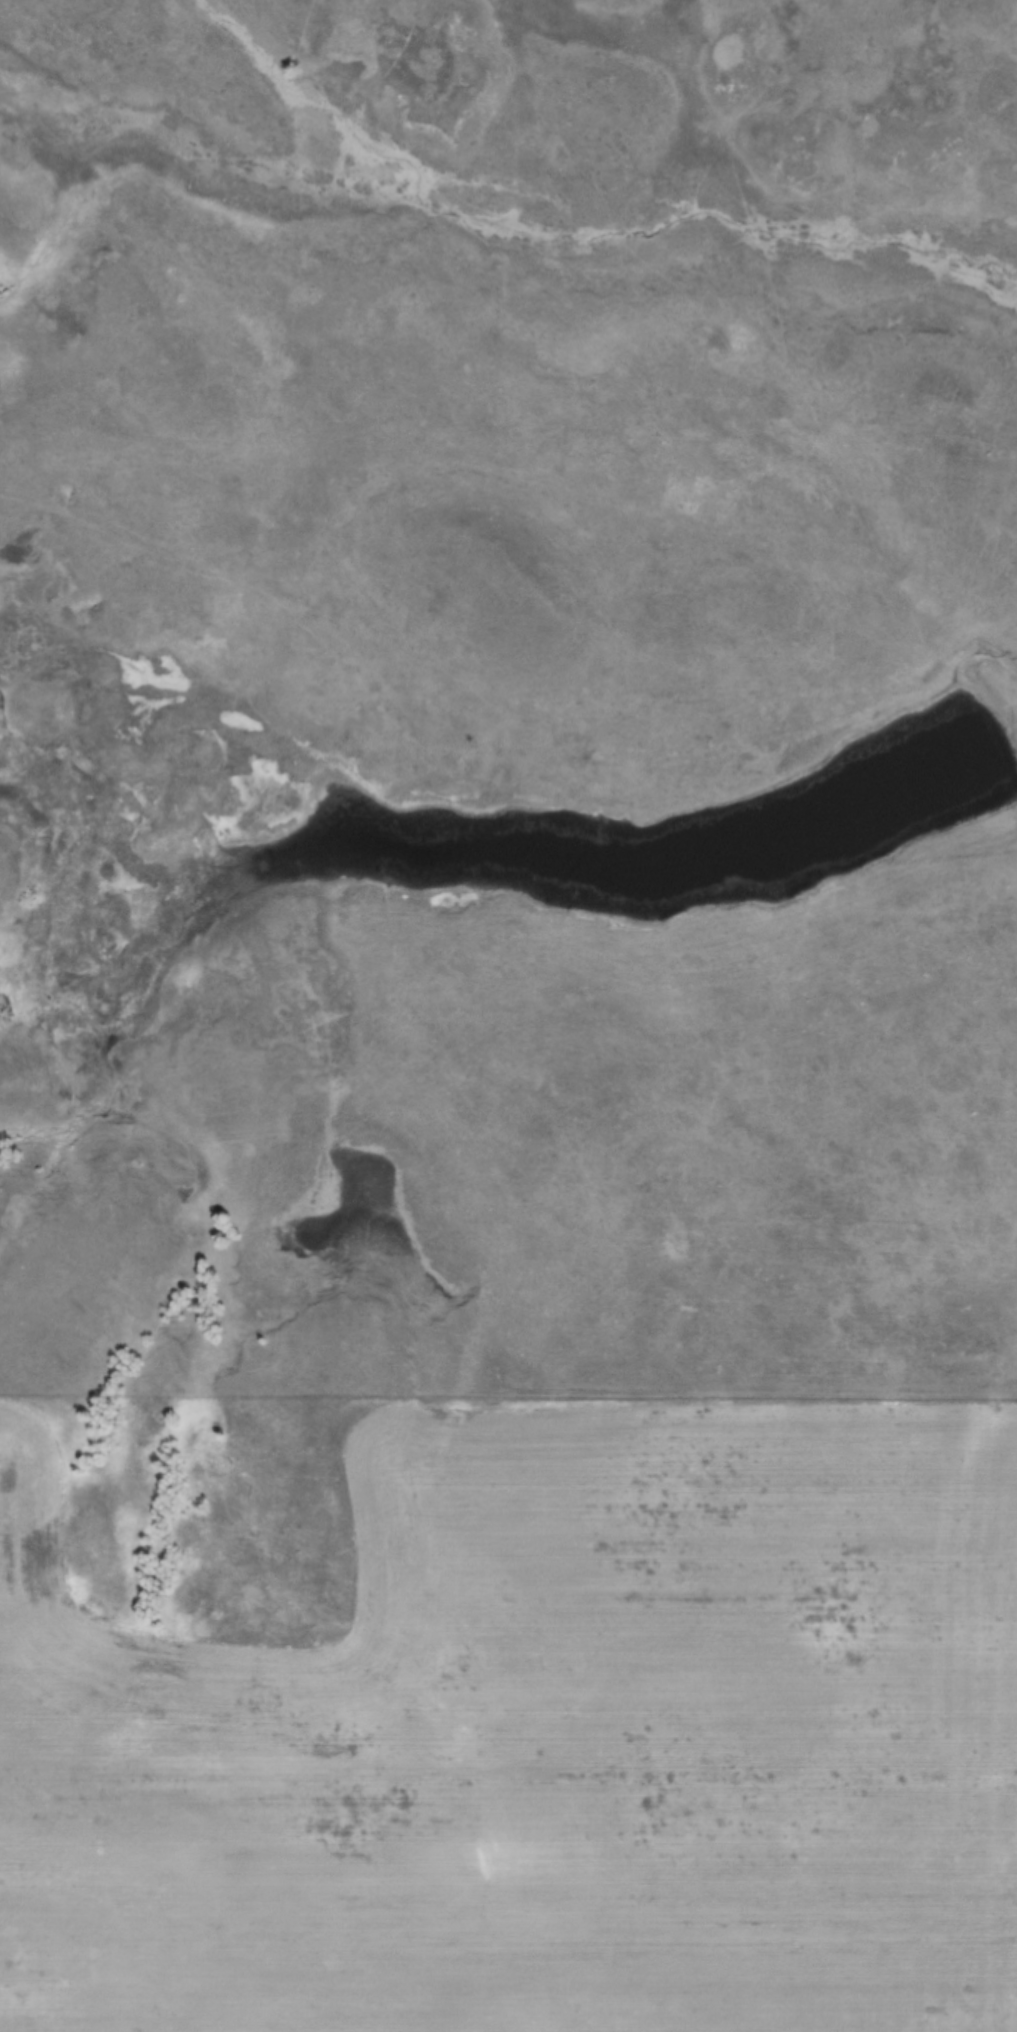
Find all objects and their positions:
dam: (991, 698)

